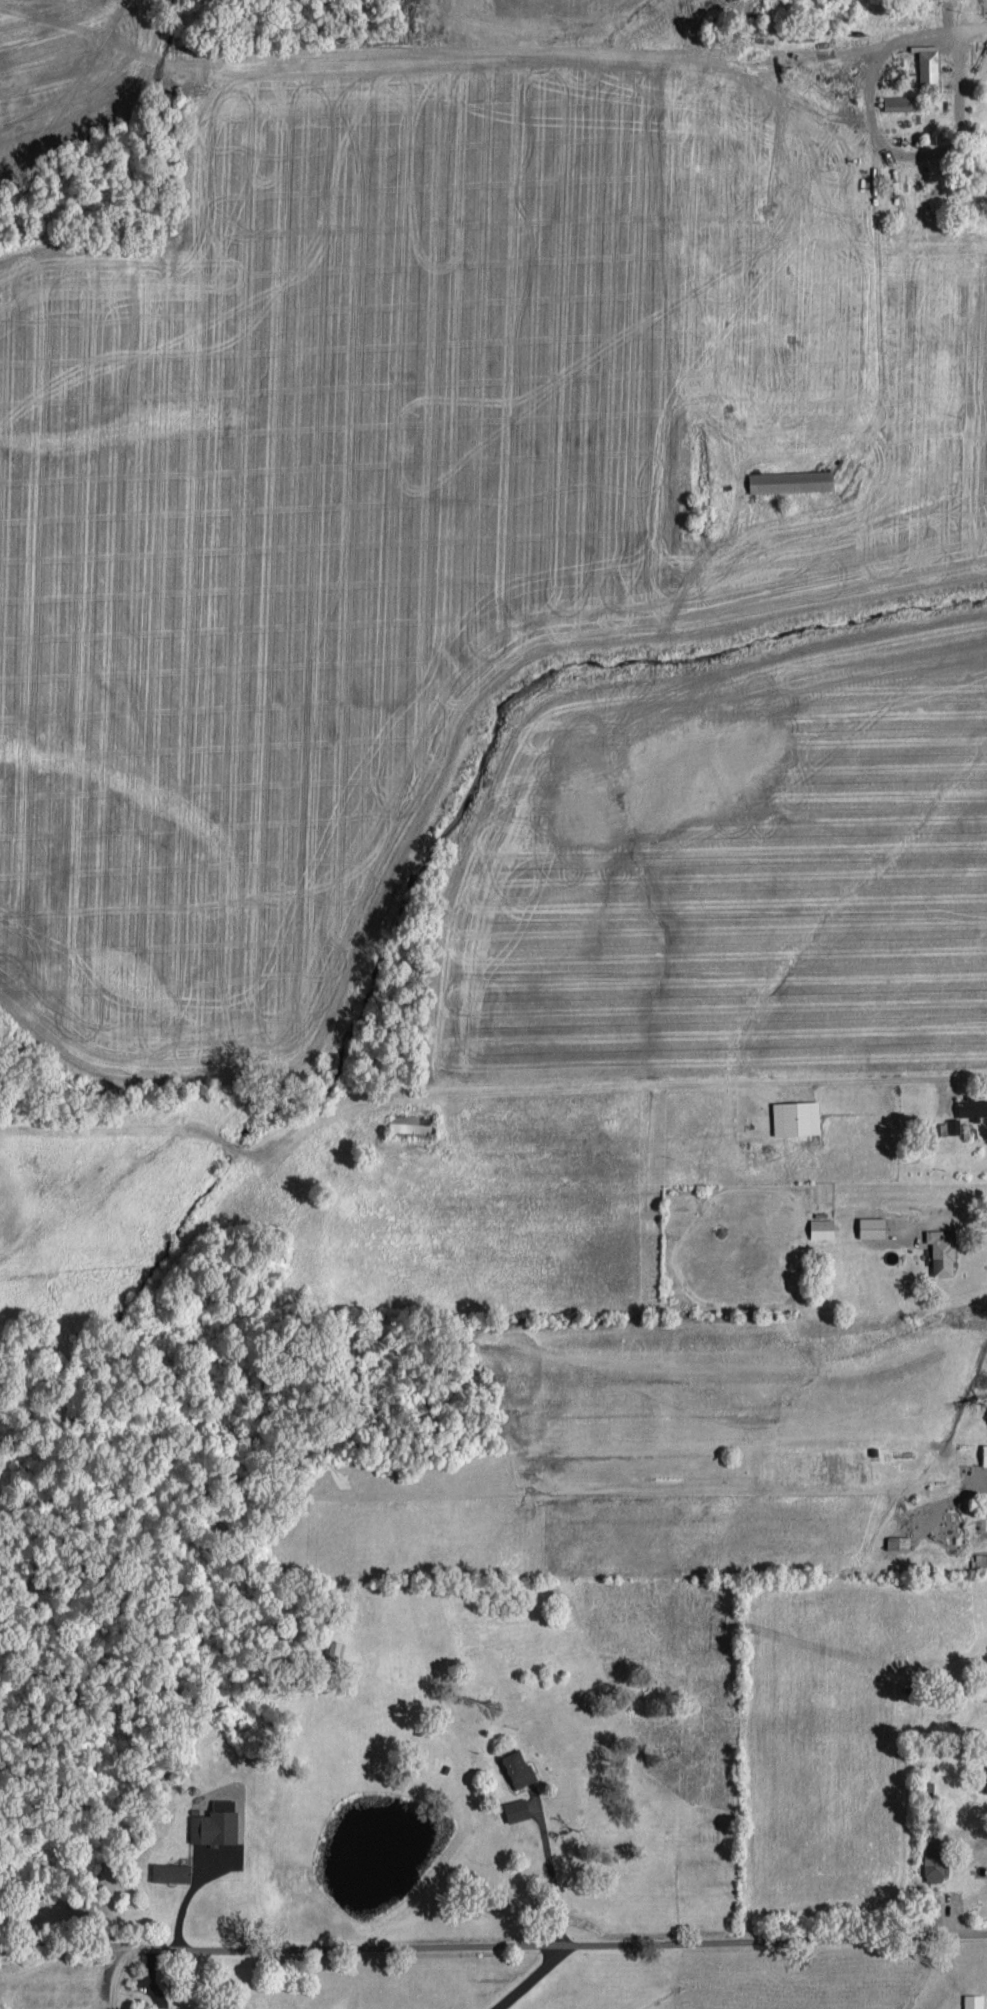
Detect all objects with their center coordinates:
building: (928, 65)
building: (898, 101)
building: (791, 479)
road: (686, 1083)
building: (972, 1105)
building: (796, 1115)
building: (407, 1122)
building: (873, 1225)
building: (822, 1226)
building: (942, 1251)
building: (985, 1452)
building: (898, 1540)
building: (519, 1766)
building: (517, 1807)
building: (936, 1860)
building: (171, 1870)
road: (551, 1871)
road: (493, 1943)
road: (115, 1975)
road: (530, 1979)
building: (973, 2000)

